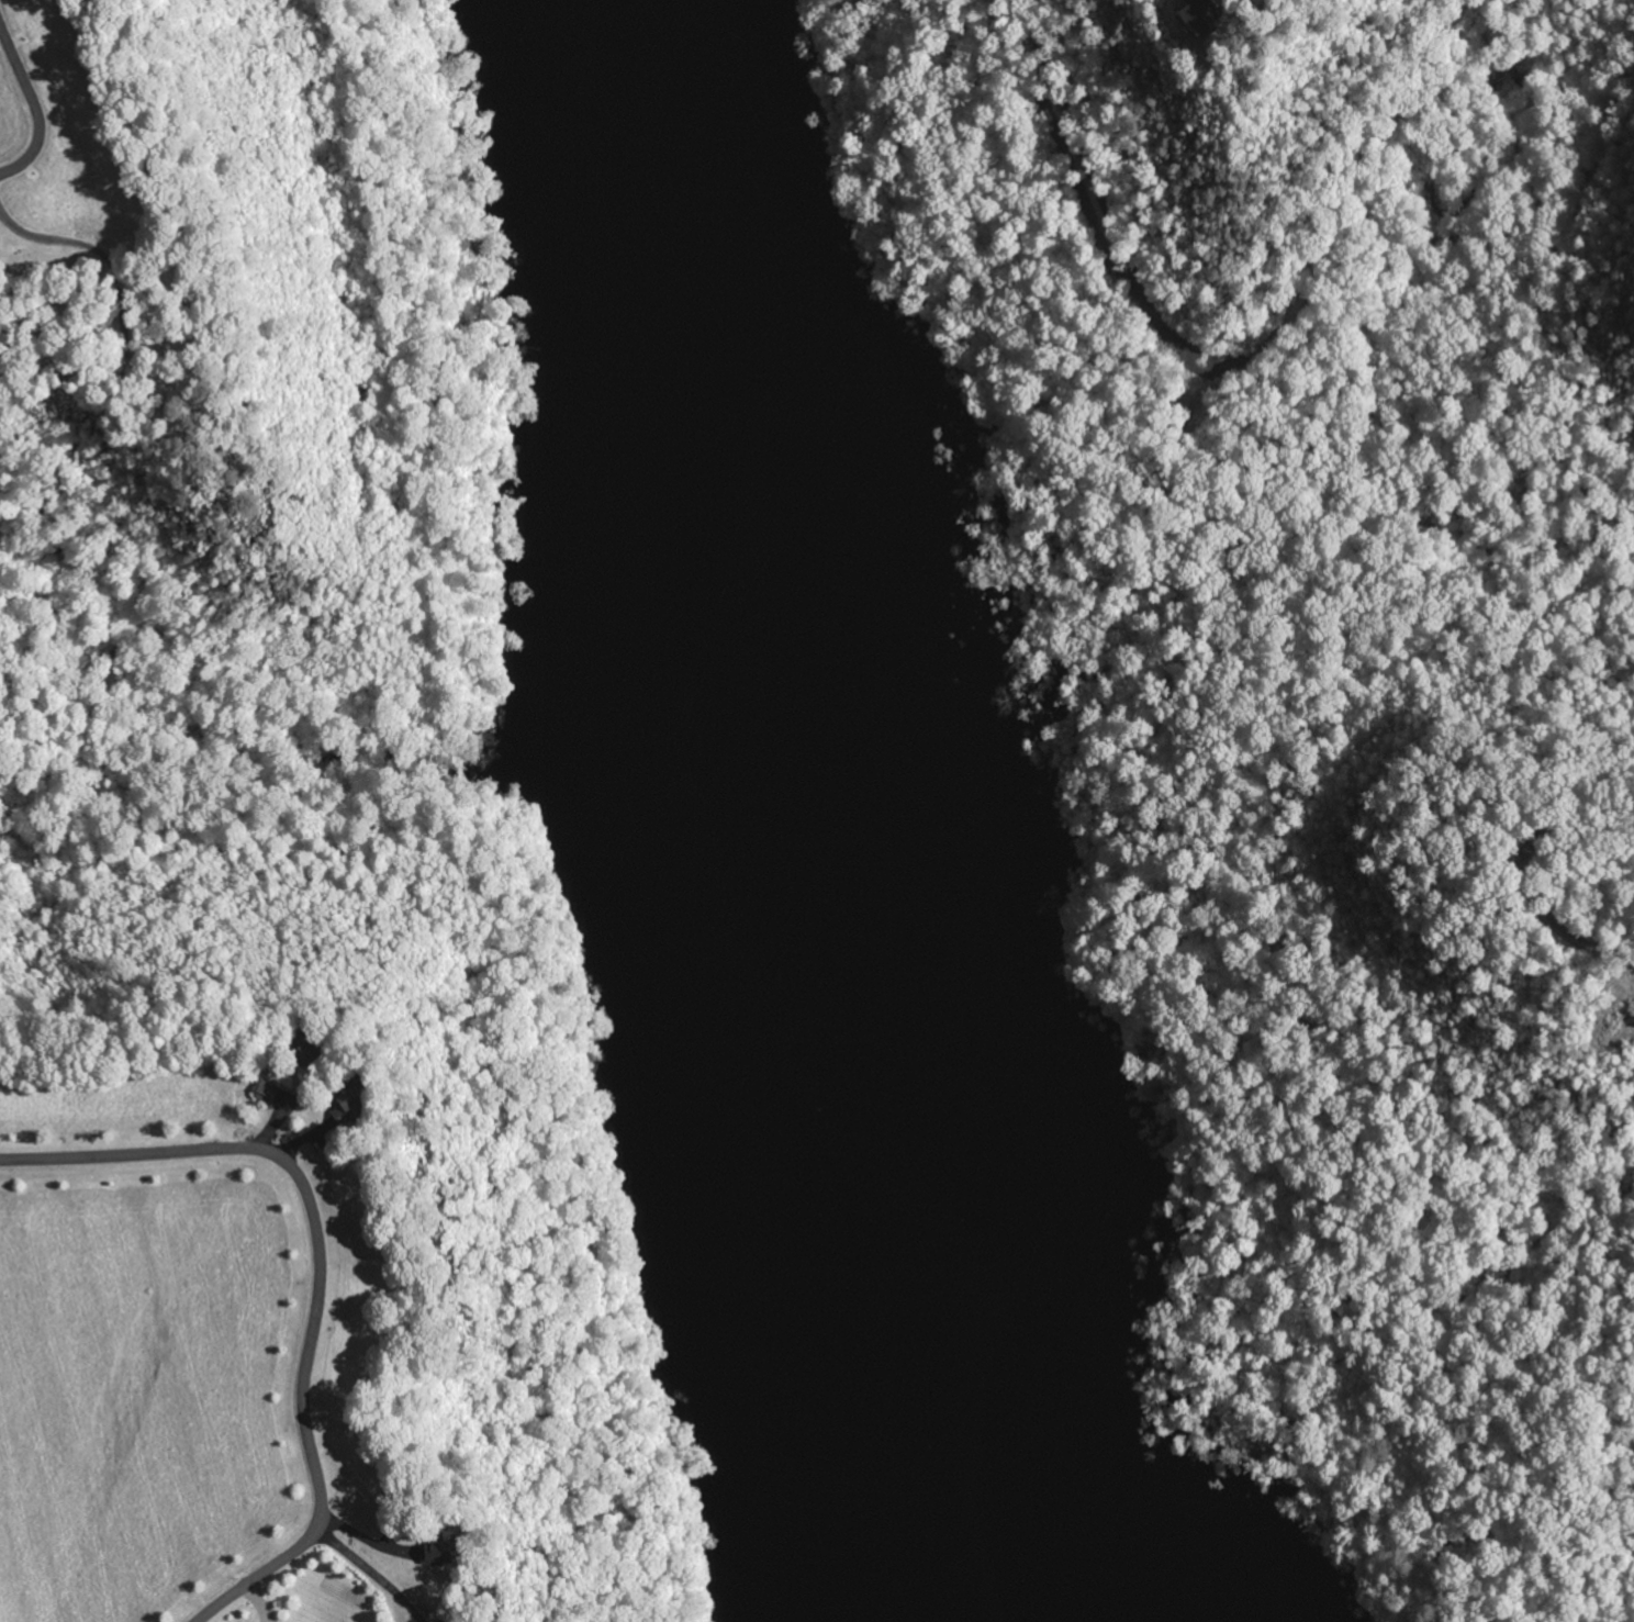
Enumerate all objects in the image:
building: (1189, 19)
road: (33, 108)
road: (1116, 243)
road: (1535, 871)
building: (266, 1092)
road: (322, 1269)
building: (436, 1548)

